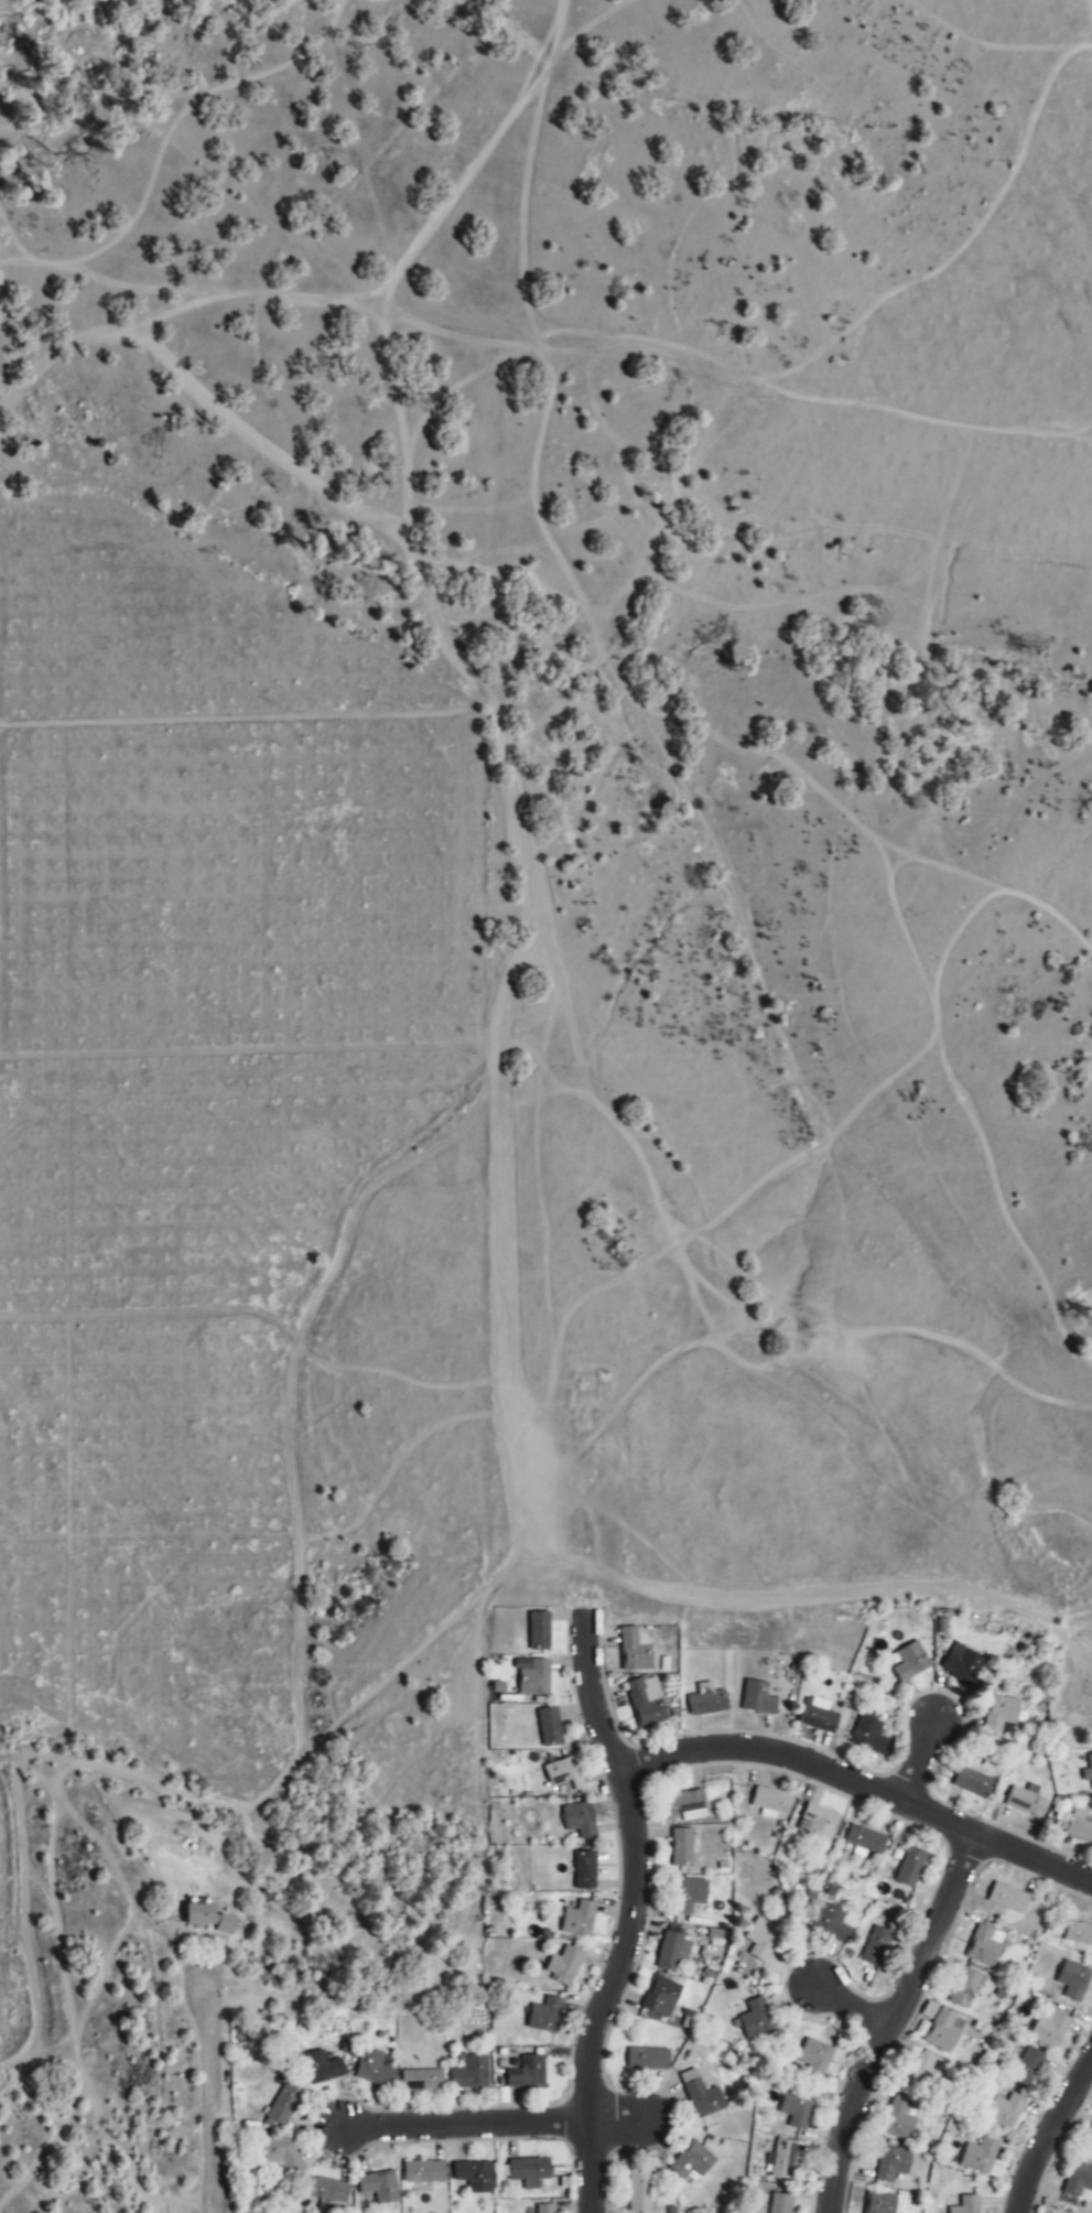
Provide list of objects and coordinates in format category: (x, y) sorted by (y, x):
building: (539, 1632)
building: (634, 1652)
building: (910, 1662)
building: (962, 1664)
building: (534, 1680)
building: (757, 1698)
building: (707, 1701)
building: (646, 1703)
building: (1001, 1713)
building: (818, 1716)
building: (549, 1727)
building: (868, 1732)
road: (920, 1762)
building: (1088, 1771)
building: (564, 1775)
building: (973, 1783)
road: (861, 1785)
building: (771, 1803)
building: (1025, 1803)
building: (685, 1805)
building: (580, 1821)
building: (817, 1824)
building: (1079, 1827)
building: (863, 1842)
building: (681, 1848)
building: (910, 1867)
building: (584, 1871)
building: (690, 1896)
building: (1009, 1902)
road: (636, 1914)
building: (198, 1915)
building: (577, 1921)
building: (829, 1923)
building: (226, 1925)
building: (1079, 1934)
building: (761, 1940)
building: (876, 1946)
building: (984, 1946)
building: (673, 1948)
building: (564, 1966)
building: (1073, 1980)
building: (964, 1988)
building: (660, 1997)
road: (853, 2007)
building: (544, 2016)
building: (756, 2020)
road: (894, 2020)
building: (1048, 2028)
building: (942, 2032)
building: (647, 2060)
building: (813, 2060)
building: (1028, 2068)
building: (322, 2069)
building: (372, 2070)
building: (471, 2073)
building: (923, 2073)
building: (527, 2074)
building: (421, 2081)
road: (205, 2088)
building: (701, 2096)
building: (283, 2105)
building: (796, 2109)
building: (1004, 2112)
road: (617, 2120)
building: (897, 2122)
road: (466, 2125)
building: (1091, 2130)
road: (1050, 2135)
building: (280, 2155)
building: (979, 2157)
building: (782, 2160)
building: (693, 2162)
building: (891, 2165)
building: (526, 2171)
building: (423, 2173)
building: (474, 2177)
building: (1079, 2180)
building: (379, 2188)
building: (326, 2191)
building: (638, 2192)
building: (879, 2203)
building: (780, 2204)
building: (966, 2205)
building: (544, 2209)

